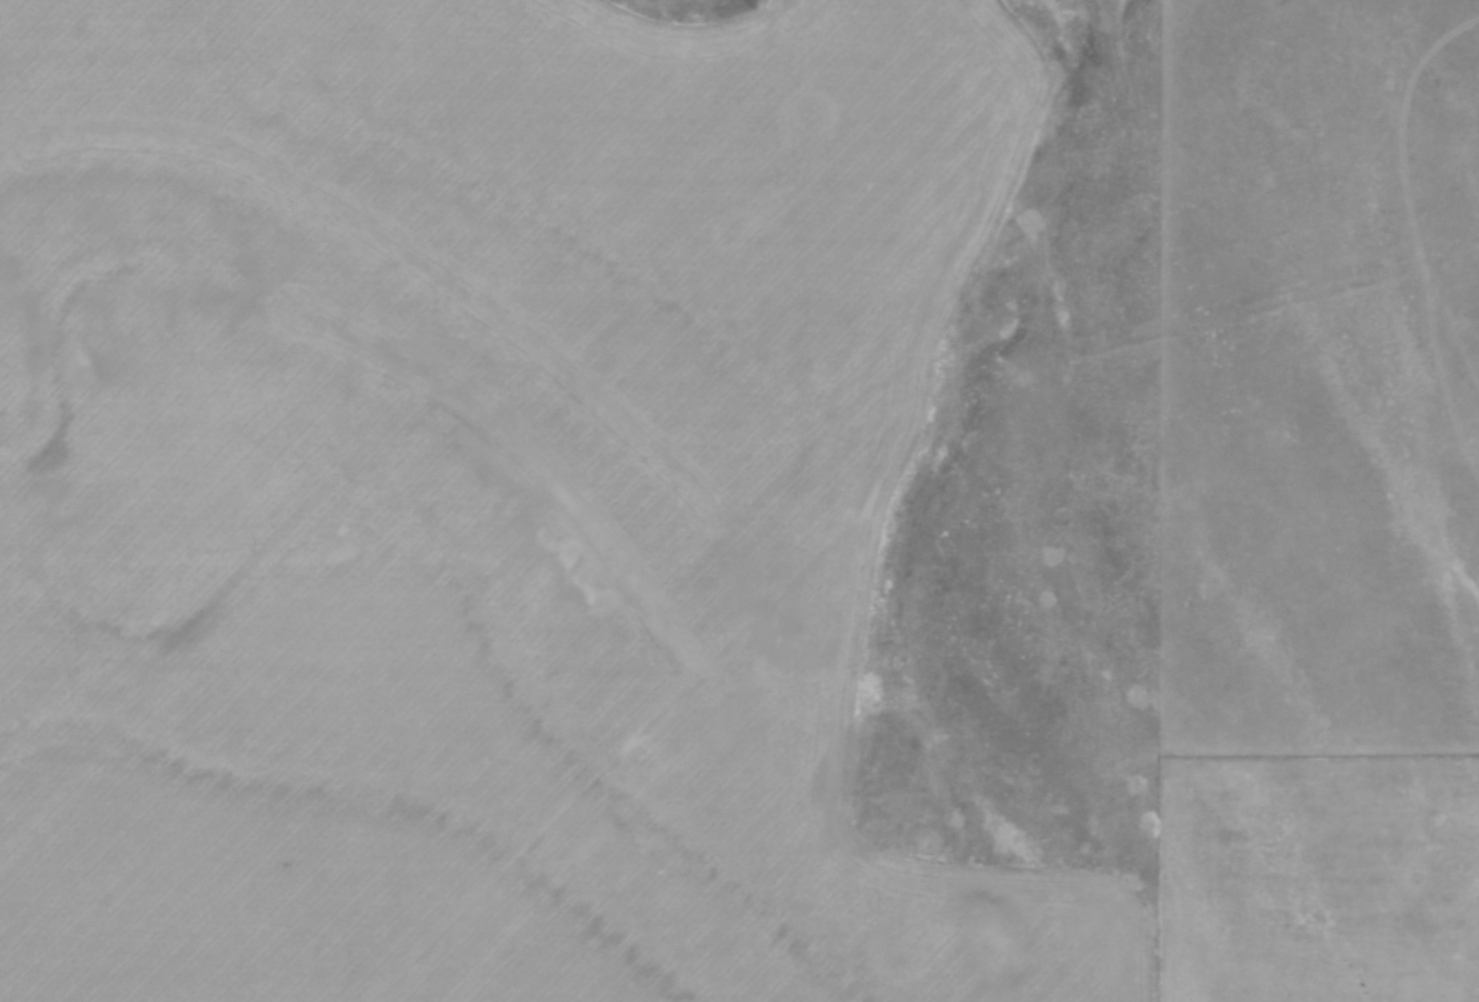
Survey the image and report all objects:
dam: (1109, 35)
crop: (549, 529)

